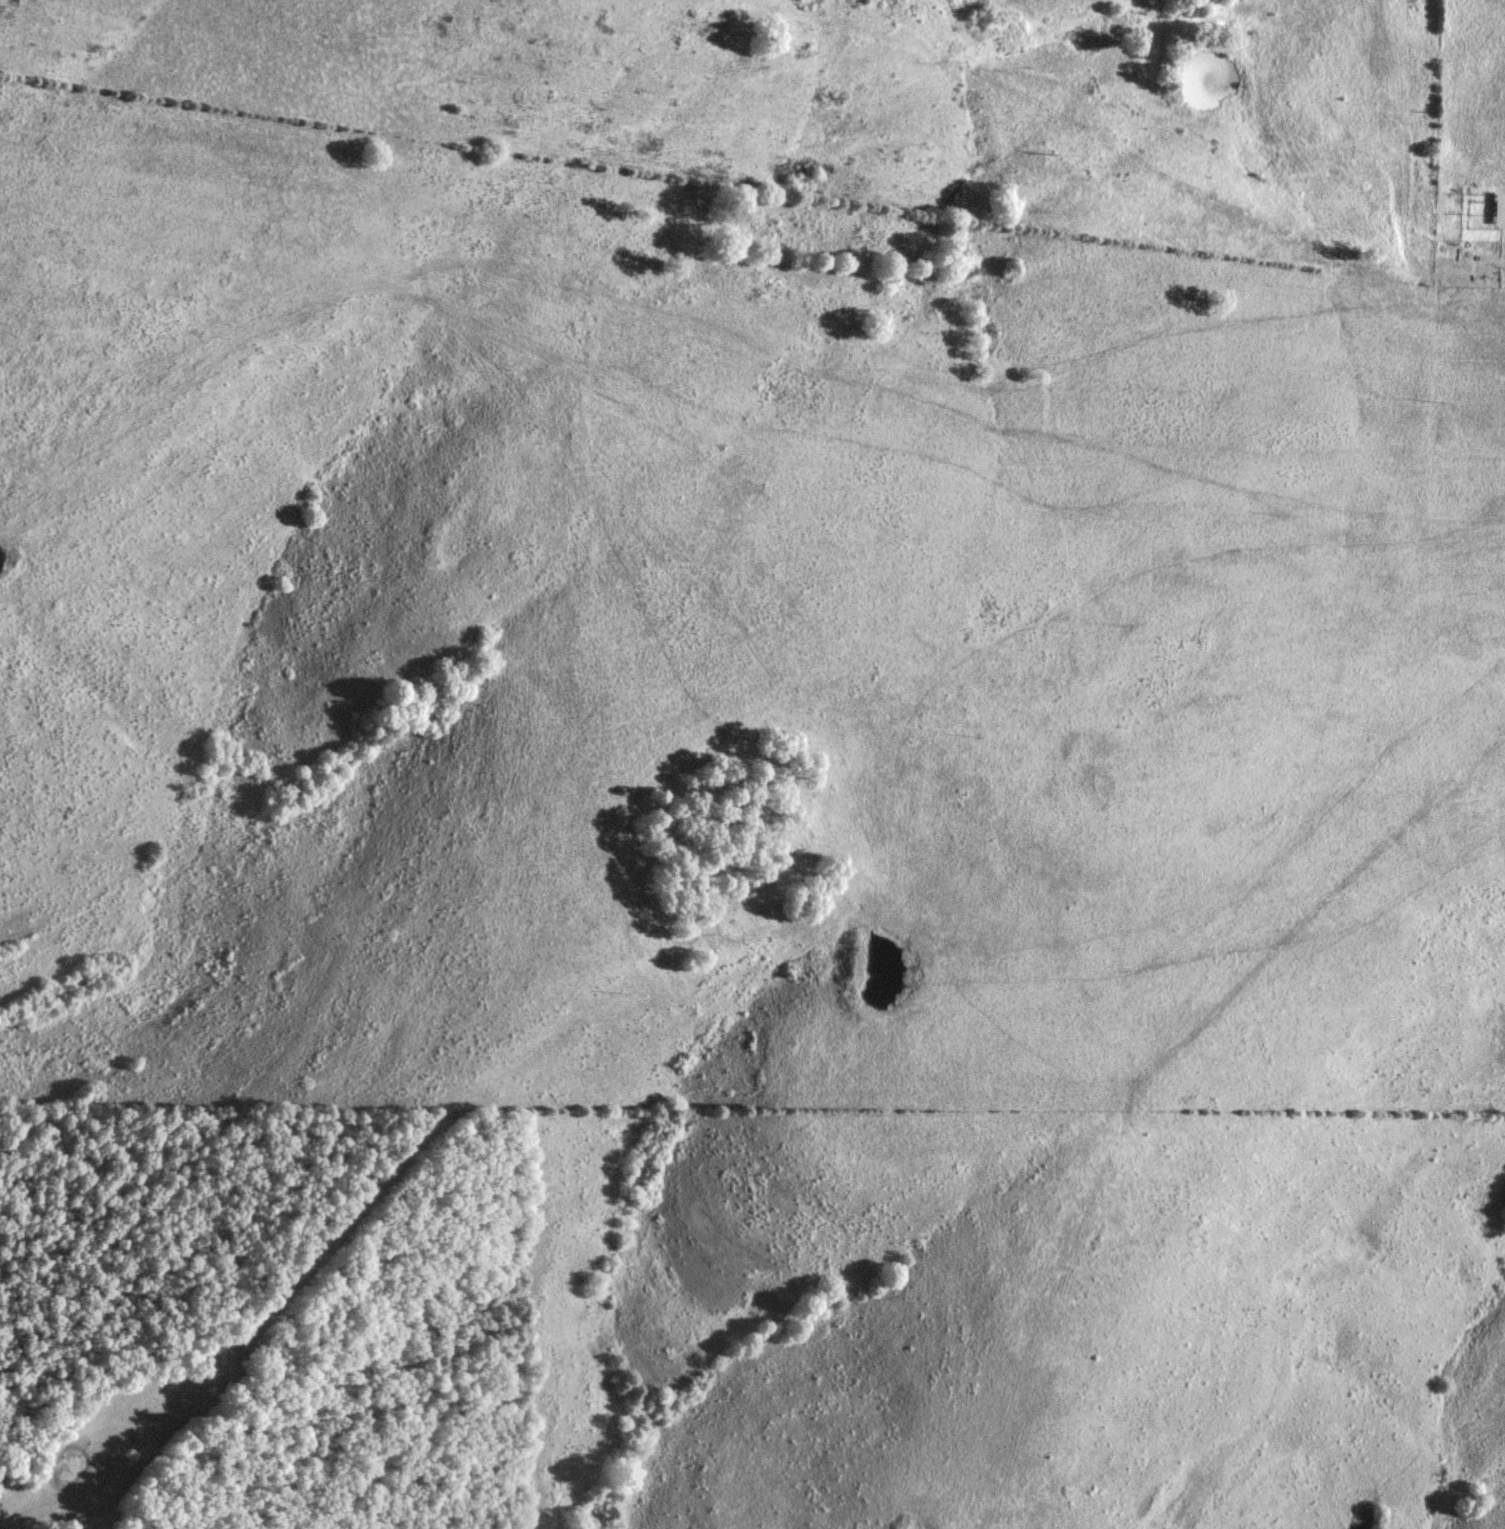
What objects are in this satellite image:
building: (1496, 209)

